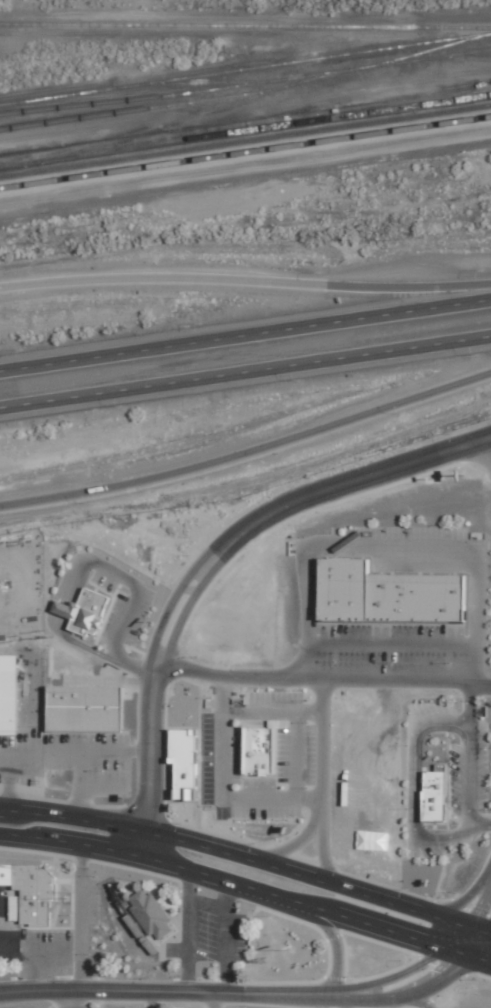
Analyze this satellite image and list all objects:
railway: (245, 25)
railway: (423, 52)
railway: (457, 54)
railway: (457, 57)
railway: (391, 63)
railway: (245, 68)
railway: (345, 70)
railway: (306, 76)
railway: (307, 80)
railway: (203, 82)
railway: (139, 97)
railway: (141, 109)
railway: (151, 129)
railway: (245, 129)
railway: (253, 138)
railway: (253, 150)
railway: (245, 162)
railway: (7, 176)
railway: (8, 184)
road: (245, 281)
road: (245, 334)
road: (245, 372)
road: (489, 442)
road: (249, 453)
parking lot: (411, 533)
road: (395, 548)
road: (209, 559)
building: (341, 589)
building: (378, 597)
building: (400, 597)
building: (418, 597)
building: (443, 598)
building: (82, 611)
parking lot: (389, 644)
road: (392, 644)
road: (322, 679)
building: (7, 695)
building: (82, 709)
road: (322, 746)
building: (263, 753)
building: (183, 762)
road: (469, 766)
parking lot: (468, 773)
road: (413, 787)
building: (431, 796)
road: (294, 844)
road: (218, 851)
road: (322, 852)
road: (226, 881)
building: (30, 895)
road: (465, 900)
road: (480, 908)
building: (148, 914)
road: (80, 917)
railway: (127, 920)
road: (451, 922)
road: (189, 931)
road: (480, 931)
road: (227, 937)
road: (337, 937)
road: (459, 938)
road: (480, 945)
flagpole: (290, 951)
road: (459, 953)
road: (480, 960)
road: (393, 977)
road: (166, 991)
road: (406, 993)
road: (73, 999)
road: (419, 1000)

